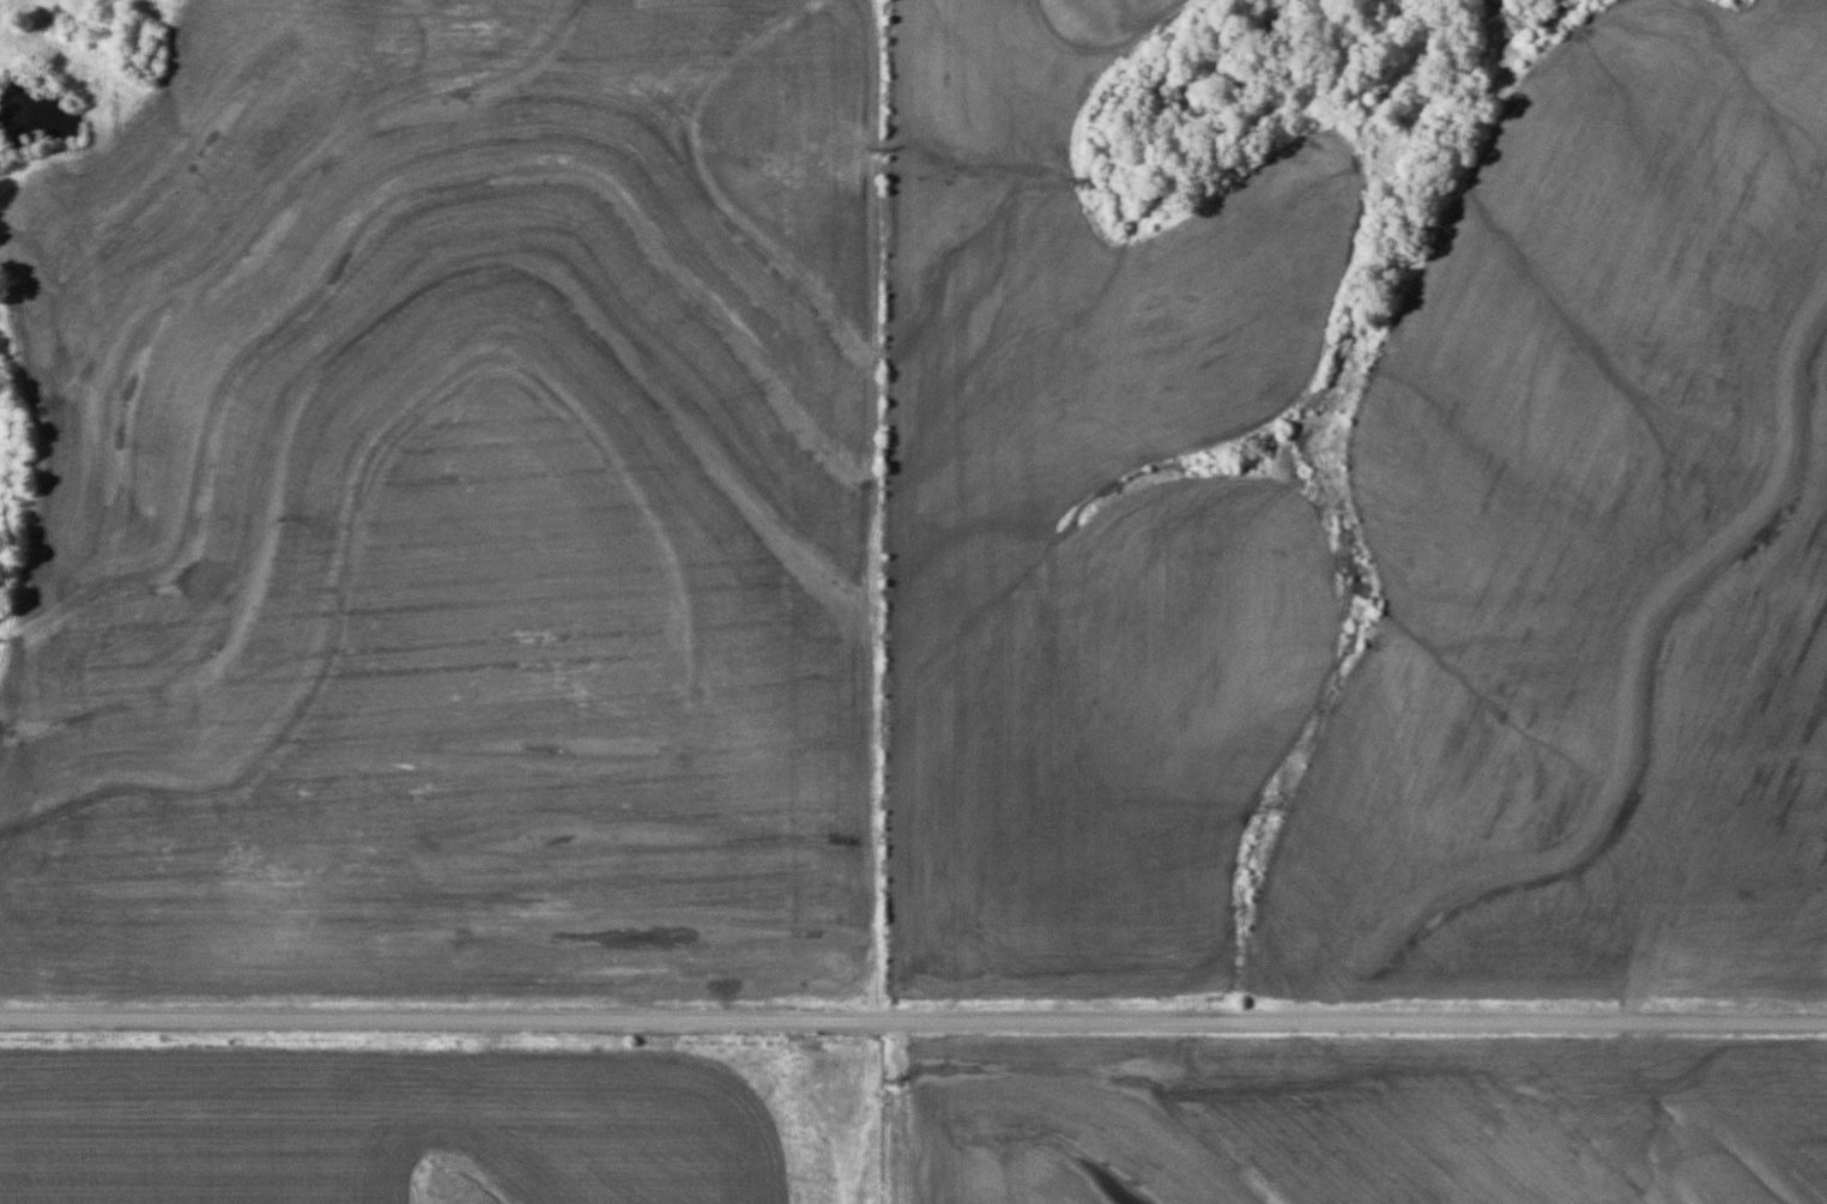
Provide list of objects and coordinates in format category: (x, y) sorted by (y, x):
road: (913, 1022)

